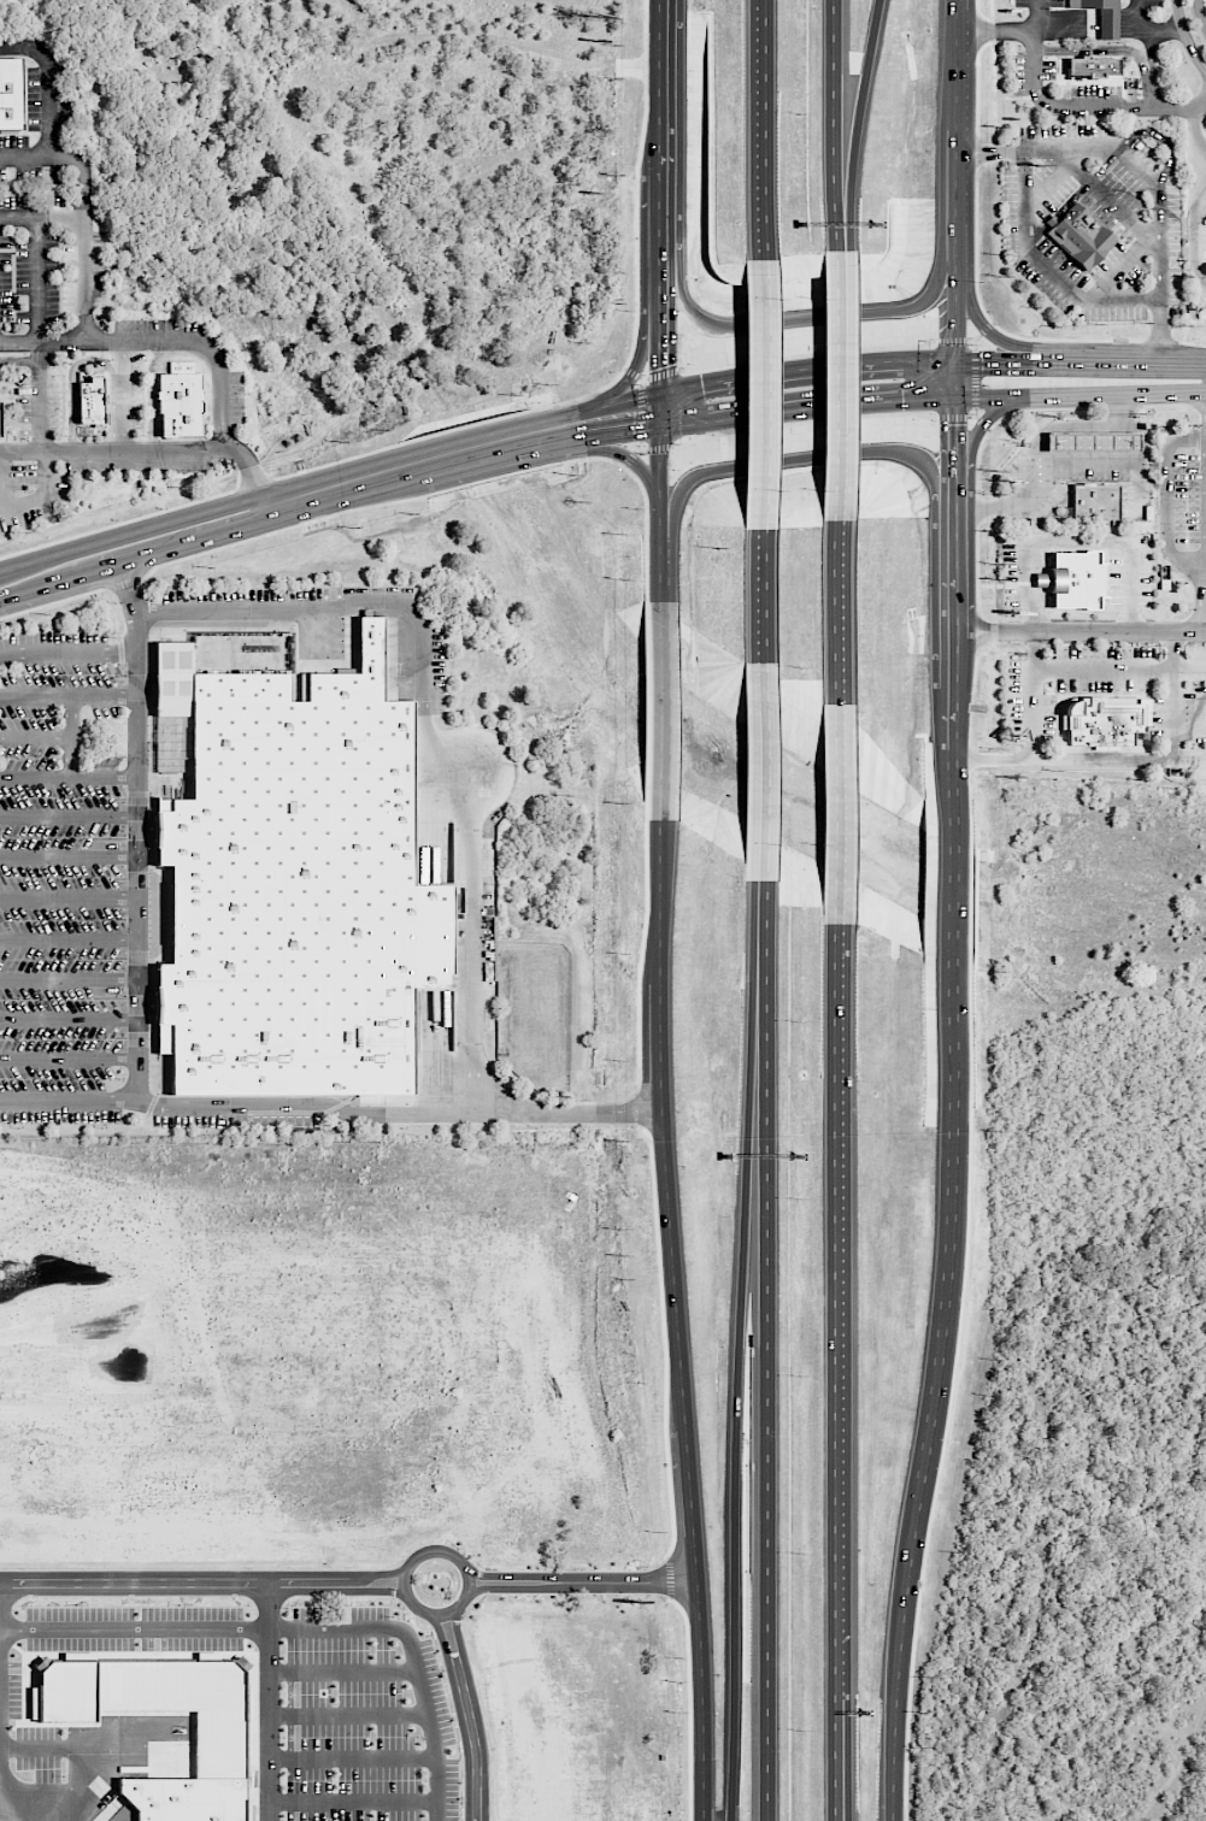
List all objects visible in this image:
parking lot: (1039, 4)
parking lot: (1154, 4)
road: (1137, 13)
road: (1036, 14)
road: (1200, 14)
building: (1102, 16)
road: (1066, 26)
road: (1107, 26)
road: (1128, 26)
road: (993, 30)
road: (1159, 31)
road: (1186, 36)
road: (1101, 49)
road: (992, 63)
road: (952, 65)
building: (1094, 66)
parking lot: (1049, 70)
road: (1151, 70)
parking lot: (1018, 73)
road: (661, 86)
building: (11, 92)
parking lot: (1089, 92)
road: (1016, 96)
parking lot: (34, 98)
road: (51, 106)
road: (1060, 106)
road: (1179, 107)
parking lot: (66, 110)
road: (834, 123)
road: (859, 123)
road: (760, 130)
parking lot: (14, 141)
road: (1065, 148)
road: (987, 152)
road: (1111, 158)
road: (1134, 169)
parking lot: (34, 173)
road: (1200, 183)
road: (953, 195)
road: (1194, 196)
road: (1107, 200)
road: (42, 218)
road: (659, 223)
road: (84, 235)
building: (1081, 236)
road: (1160, 246)
road: (835, 248)
parking lot: (49, 258)
road: (1122, 259)
road: (1048, 265)
road: (39, 279)
road: (658, 295)
road: (813, 319)
road: (1160, 324)
parking lot: (160, 325)
road: (954, 328)
road: (986, 329)
road: (1010, 335)
road: (951, 341)
road: (973, 341)
road: (975, 344)
road: (1048, 347)
road: (807, 353)
road: (659, 354)
traffic signals: (982, 359)
road: (1072, 359)
road: (1198, 361)
road: (635, 366)
road: (805, 367)
road: (72, 369)
traffic signals: (659, 369)
road: (124, 371)
road: (631, 372)
road: (663, 375)
road: (641, 378)
road: (975, 378)
road: (643, 381)
road: (835, 385)
building: (837, 385)
traffic signals: (688, 387)
parking lot: (139, 389)
road: (1079, 394)
road: (39, 395)
road: (759, 395)
parking lot: (237, 397)
building: (180, 399)
traffic signals: (925, 399)
building: (92, 400)
road: (223, 400)
parking lot: (57, 403)
road: (805, 407)
road: (658, 411)
road: (973, 412)
parking lot: (25, 413)
road: (640, 413)
road: (971, 416)
road: (952, 418)
road: (494, 419)
road: (802, 419)
road: (982, 424)
road: (122, 425)
road: (1063, 425)
traffic signals: (954, 426)
road: (976, 430)
traffic signals: (634, 431)
road: (616, 434)
building: (1093, 442)
gas station: (1093, 442)
road: (640, 444)
road: (659, 447)
road: (640, 448)
road: (623, 454)
road: (499, 455)
road: (630, 459)
road: (805, 460)
road: (1067, 464)
parking lot: (139, 465)
road: (358, 467)
road: (254, 476)
road: (412, 479)
road: (448, 488)
road: (976, 489)
parking lot: (29, 491)
road: (370, 491)
road: (1166, 500)
road: (20, 501)
building: (1095, 501)
road: (305, 509)
road: (658, 513)
road: (194, 541)
road: (30, 561)
road: (96, 570)
road: (1034, 577)
building: (1076, 579)
road: (124, 582)
road: (37, 587)
road: (759, 594)
road: (2, 596)
road: (52, 602)
road: (954, 617)
road: (835, 620)
road: (1205, 620)
road: (994, 630)
road: (67, 650)
road: (1102, 668)
road: (1188, 670)
road: (67, 693)
road: (646, 709)
road: (660, 711)
building: (1105, 720)
road: (422, 724)
road: (71, 735)
road: (1036, 736)
road: (35, 737)
road: (1166, 760)
road: (1187, 760)
road: (759, 773)
road: (69, 778)
road: (69, 814)
road: (836, 817)
road: (137, 829)
road: (69, 854)
parking lot: (63, 878)
road: (954, 891)
building: (295, 892)
road: (69, 896)
road: (69, 936)
road: (760, 942)
road: (69, 979)
road: (69, 1016)
road: (69, 1057)
road: (67, 1098)
road: (304, 1106)
road: (566, 1113)
road: (482, 1168)
road: (71, 1169)
road: (333, 1169)
road: (486, 1177)
road: (508, 1177)
road: (539, 1177)
road: (652, 1185)
road: (457, 1203)
road: (839, 1204)
road: (487, 1207)
road: (508, 1207)
road: (540, 1207)
road: (284, 1218)
road: (487, 1233)
road: (510, 1233)
road: (540, 1233)
road: (498, 1238)
road: (283, 1261)
road: (513, 1304)
road: (284, 1307)
road: (676, 1320)
road: (284, 1349)
road: (934, 1384)
road: (442, 1401)
road: (734, 1407)
road: (764, 1408)
road: (269, 1420)
road: (134, 1454)
road: (347, 1454)
road: (34, 1498)
road: (80, 1498)
road: (130, 1498)
road: (176, 1498)
road: (220, 1499)
road: (304, 1499)
road: (349, 1501)
road: (134, 1544)
road: (373, 1545)
road: (437, 1548)
road: (667, 1578)
road: (202, 1579)
road: (582, 1579)
road: (300, 1627)
road: (835, 1658)
road: (848, 1658)
road: (342, 1669)
building: (69, 1689)
road: (267, 1699)
building: (184, 1702)
road: (688, 1707)
road: (0, 1713)
road: (347, 1713)
road: (469, 1715)
road: (83, 1746)
road: (353, 1756)
road: (93, 1797)
building: (186, 1797)
road: (354, 1799)
road: (45, 1811)

